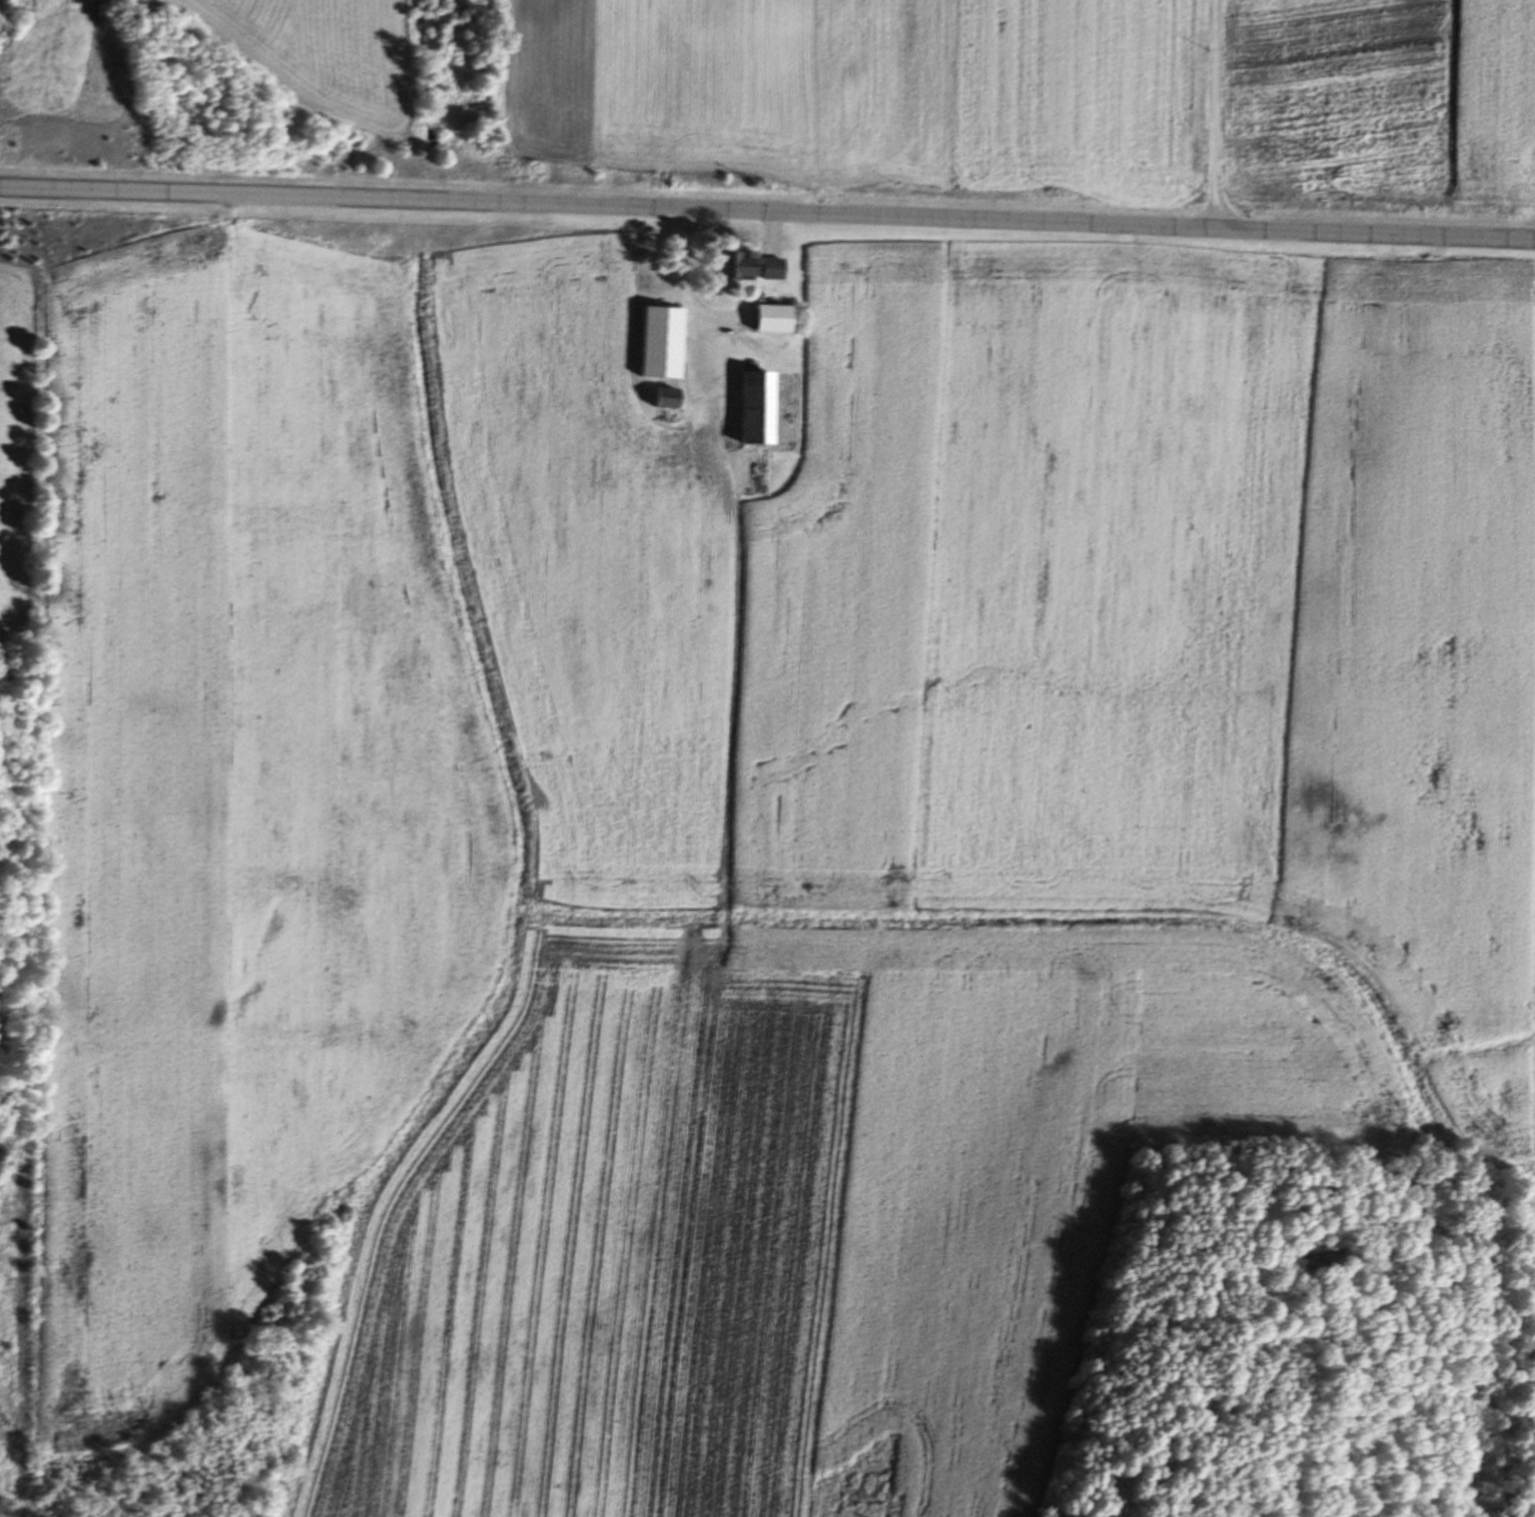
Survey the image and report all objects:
road: (1213, 114)
road: (767, 213)
building: (739, 269)
road: (681, 279)
building: (761, 320)
building: (650, 344)
building: (655, 400)
building: (746, 409)

